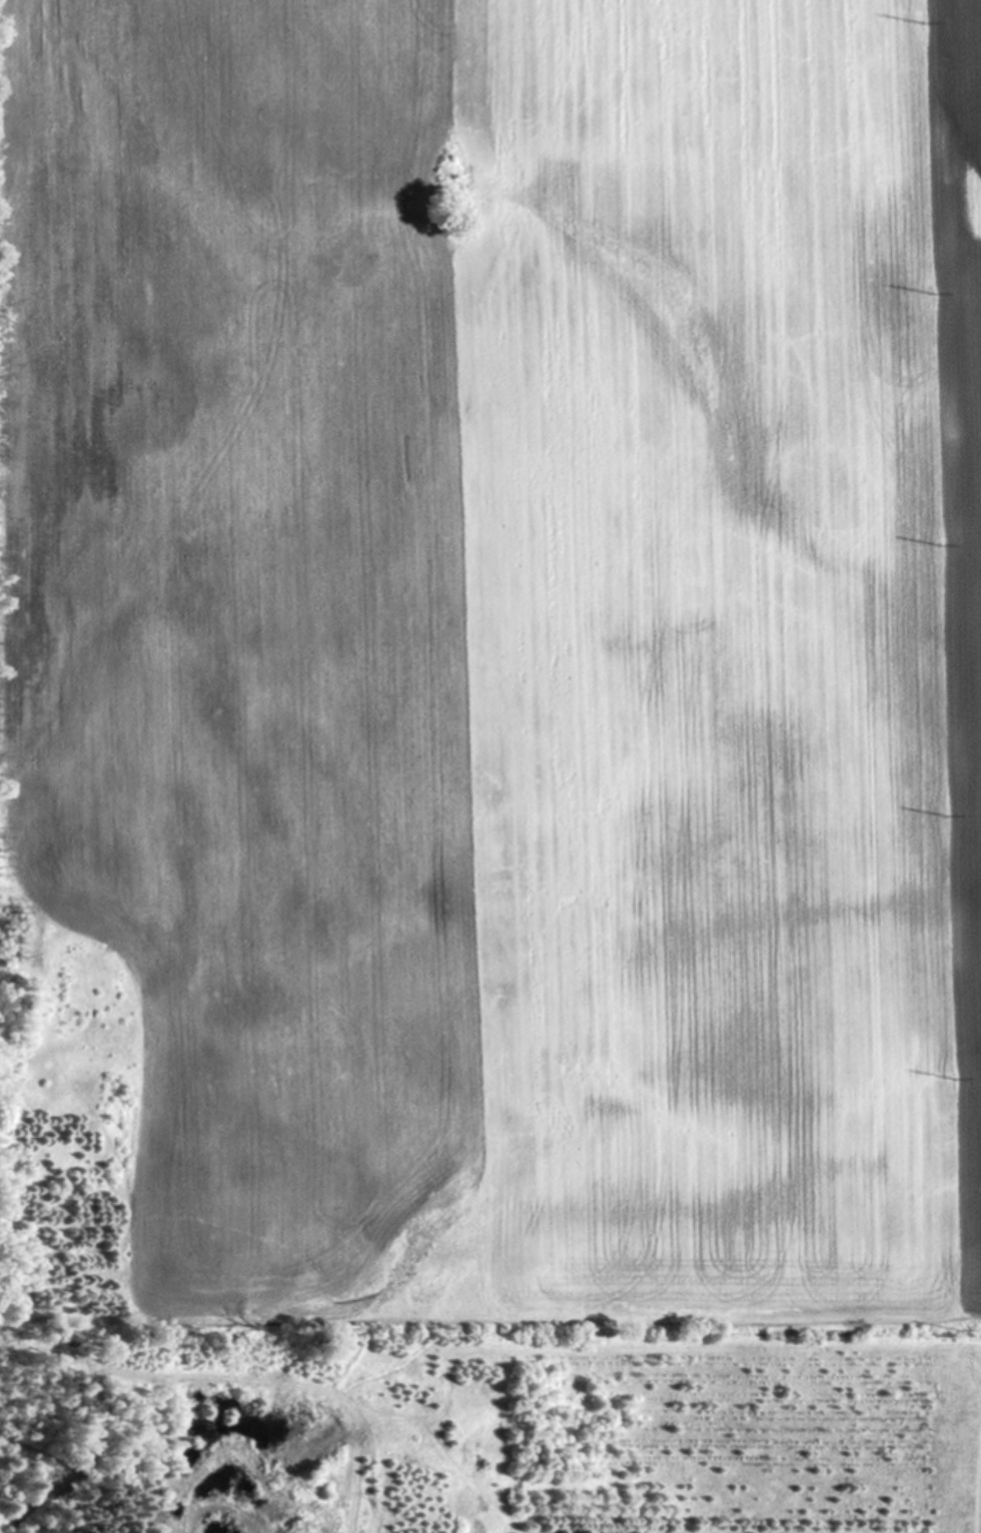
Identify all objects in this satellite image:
power tower: (926, 21)
power tower: (932, 293)
power tower: (939, 540)
power tower: (947, 815)
power tower: (954, 1076)
power tower: (960, 1331)

